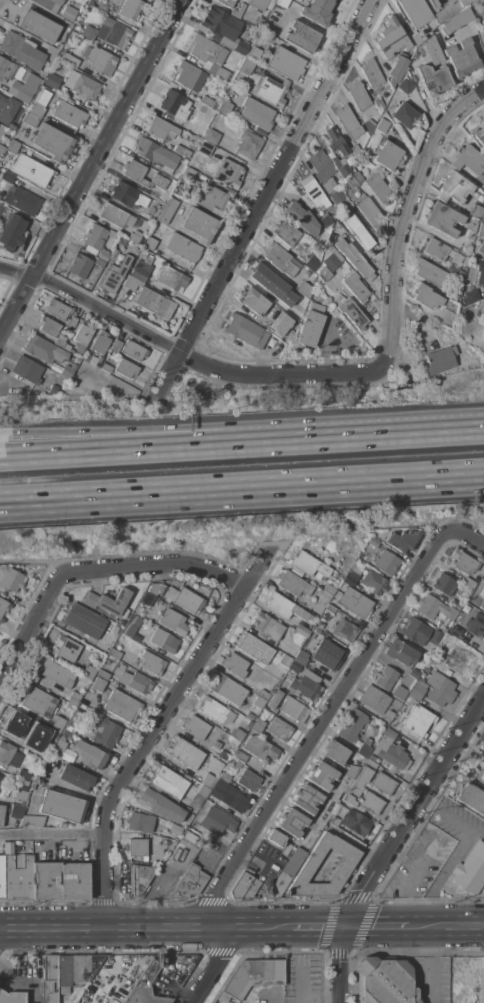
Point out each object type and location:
building: (226, 2)
building: (282, 2)
building: (462, 2)
building: (482, 2)
building: (49, 4)
building: (261, 4)
building: (432, 4)
building: (98, 5)
building: (131, 8)
building: (70, 10)
building: (238, 10)
building: (446, 10)
building: (316, 11)
building: (415, 12)
building: (454, 21)
building: (482, 25)
building: (40, 26)
building: (268, 28)
building: (223, 29)
building: (109, 33)
building: (301, 37)
building: (390, 38)
building: (414, 38)
building: (25, 51)
building: (431, 51)
building: (254, 53)
building: (208, 55)
building: (67, 58)
building: (460, 58)
building: (99, 60)
building: (285, 63)
building: (246, 66)
building: (9, 70)
building: (395, 70)
building: (370, 72)
building: (43, 73)
building: (189, 76)
building: (432, 79)
building: (51, 80)
building: (80, 86)
building: (404, 86)
building: (24, 87)
building: (272, 91)
building: (358, 96)
building: (209, 102)
building: (39, 104)
building: (175, 104)
building: (377, 104)
building: (224, 108)
building: (7, 109)
building: (256, 113)
building: (69, 114)
building: (403, 115)
building: (30, 120)
building: (347, 121)
building: (369, 123)
building: (381, 125)
building: (12, 126)
building: (160, 128)
building: (480, 135)
building: (211, 136)
building: (335, 141)
building: (52, 142)
building: (248, 144)
building: (13, 146)
building: (205, 148)
building: (2, 150)
building: (355, 150)
building: (181, 151)
building: (156, 154)
building: (387, 155)
building: (467, 159)
building: (183, 160)
building: (321, 165)
building: (340, 166)
road: (91, 168)
building: (32, 171)
building: (188, 173)
building: (228, 173)
building: (142, 175)
building: (7, 177)
building: (354, 179)
building: (377, 188)
building: (453, 188)
building: (313, 192)
building: (156, 193)
building: (126, 196)
building: (337, 197)
building: (211, 198)
building: (21, 200)
road: (263, 200)
building: (1, 209)
building: (150, 209)
building: (167, 210)
building: (475, 211)
building: (369, 212)
building: (117, 216)
building: (482, 216)
building: (301, 218)
building: (442, 219)
building: (325, 221)
road: (406, 221)
building: (470, 224)
building: (199, 225)
building: (481, 229)
building: (12, 231)
building: (358, 233)
building: (286, 234)
building: (137, 237)
building: (98, 241)
building: (122, 241)
building: (150, 243)
building: (305, 243)
building: (183, 247)
building: (434, 248)
building: (481, 248)
building: (113, 254)
building: (319, 254)
building: (354, 258)
building: (280, 259)
building: (333, 259)
building: (312, 263)
building: (83, 264)
building: (142, 268)
building: (453, 268)
building: (430, 272)
building: (480, 273)
building: (115, 274)
building: (324, 274)
building: (263, 277)
building: (169, 280)
building: (130, 282)
building: (457, 283)
building: (355, 287)
building: (305, 289)
building: (471, 296)
building: (431, 299)
building: (254, 301)
building: (154, 303)
building: (482, 308)
building: (58, 309)
building: (295, 310)
building: (352, 313)
building: (71, 321)
building: (280, 324)
building: (311, 324)
building: (48, 326)
building: (245, 331)
building: (83, 334)
building: (61, 340)
building: (101, 341)
building: (116, 346)
building: (39, 348)
building: (68, 348)
building: (133, 350)
road: (181, 354)
building: (440, 359)
building: (100, 362)
building: (107, 368)
building: (126, 368)
building: (27, 369)
building: (67, 371)
building: (53, 389)
road: (415, 433)
road: (173, 436)
road: (173, 447)
road: (349, 480)
road: (107, 494)
road: (107, 502)
road: (467, 536)
building: (403, 539)
building: (372, 544)
road: (35, 561)
building: (386, 562)
building: (463, 562)
building: (308, 564)
road: (156, 566)
building: (10, 579)
building: (351, 579)
building: (374, 582)
building: (469, 583)
building: (294, 584)
building: (444, 584)
building: (153, 588)
building: (329, 589)
building: (147, 599)
building: (184, 599)
building: (356, 603)
building: (105, 604)
building: (482, 604)
building: (456, 605)
building: (285, 606)
building: (3, 608)
building: (434, 608)
building: (84, 620)
building: (173, 621)
building: (476, 624)
building: (318, 625)
building: (337, 625)
building: (131, 626)
building: (267, 626)
building: (115, 629)
building: (301, 630)
building: (416, 631)
building: (455, 631)
road: (30, 633)
building: (436, 636)
building: (164, 640)
building: (66, 647)
building: (255, 648)
building: (401, 652)
building: (115, 653)
building: (326, 654)
building: (301, 657)
building: (459, 658)
building: (285, 660)
building: (434, 662)
building: (152, 663)
building: (235, 665)
building: (121, 666)
building: (295, 667)
building: (426, 669)
building: (89, 672)
building: (57, 673)
building: (414, 673)
building: (102, 675)
building: (385, 677)
building: (136, 681)
building: (97, 684)
building: (305, 685)
building: (418, 689)
building: (439, 689)
building: (228, 690)
building: (399, 693)
building: (263, 694)
building: (74, 699)
building: (374, 699)
building: (38, 701)
building: (256, 704)
building: (122, 705)
building: (268, 706)
building: (290, 706)
building: (215, 710)
building: (249, 714)
building: (389, 714)
building: (418, 721)
building: (249, 723)
building: (58, 724)
building: (72, 725)
building: (257, 725)
building: (352, 725)
building: (196, 727)
road: (322, 727)
building: (22, 728)
building: (279, 729)
building: (47, 731)
road: (155, 731)
building: (106, 732)
building: (236, 734)
building: (217, 745)
building: (59, 747)
building: (44, 748)
building: (260, 748)
building: (365, 748)
building: (392, 751)
building: (5, 752)
building: (184, 752)
building: (335, 752)
building: (223, 755)
building: (240, 756)
building: (95, 758)
building: (373, 759)
building: (370, 763)
building: (237, 764)
building: (213, 765)
building: (352, 771)
building: (480, 772)
building: (23, 774)
building: (320, 775)
building: (1, 777)
building: (76, 777)
road: (461, 777)
building: (224, 778)
building: (208, 780)
building: (249, 780)
building: (168, 781)
building: (383, 783)
building: (356, 786)
building: (1, 789)
building: (21, 790)
building: (199, 796)
building: (229, 796)
building: (306, 798)
building: (471, 798)
building: (371, 802)
building: (161, 805)
building: (62, 807)
building: (17, 811)
building: (1, 813)
building: (333, 820)
building: (32, 821)
building: (140, 821)
building: (217, 821)
building: (291, 822)
building: (355, 822)
building: (175, 829)
road: (477, 832)
road: (52, 836)
building: (189, 836)
building: (276, 838)
road: (392, 840)
building: (164, 842)
building: (136, 847)
building: (148, 847)
road: (453, 860)
building: (306, 869)
building: (470, 869)
building: (286, 872)
building: (1, 876)
building: (17, 876)
building: (45, 880)
building: (73, 881)
building: (138, 881)
building: (190, 883)
building: (244, 885)
road: (481, 920)
road: (393, 927)
road: (461, 927)
road: (316, 928)
traffic signals: (349, 928)
road: (141, 929)
road: (4, 936)
road: (429, 964)
road: (219, 965)
building: (75, 970)
building: (255, 975)
parking lot: (302, 978)
building: (49, 979)
building: (482, 980)
building: (386, 981)
road: (302, 986)
building: (146, 987)
building: (12, 997)
road: (321, 1000)

